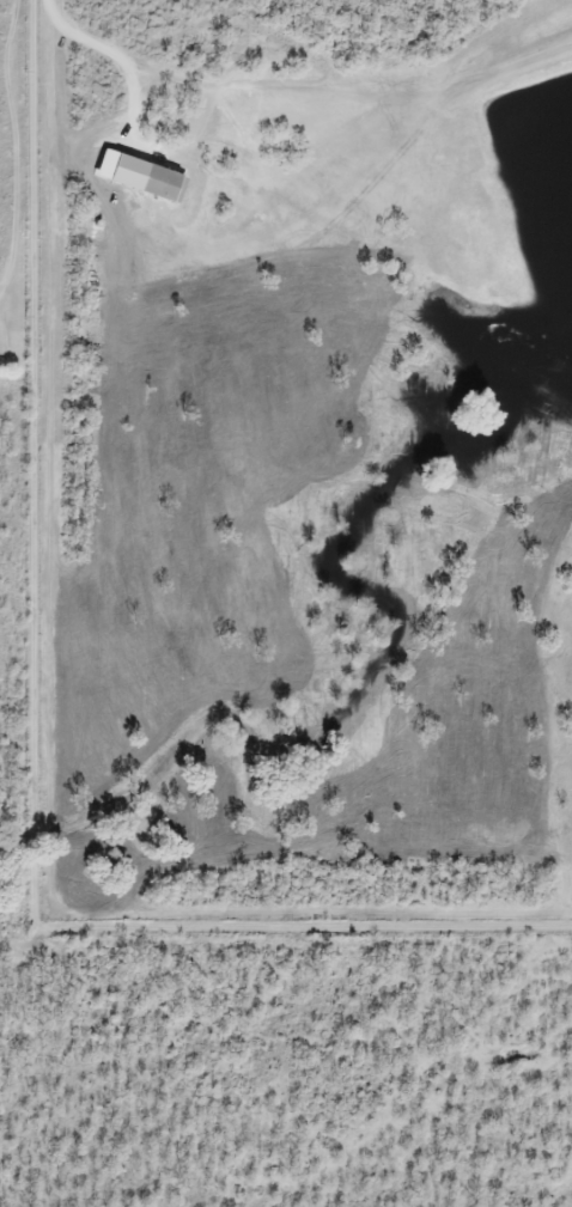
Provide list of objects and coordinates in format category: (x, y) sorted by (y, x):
road: (120, 54)
road: (18, 146)

